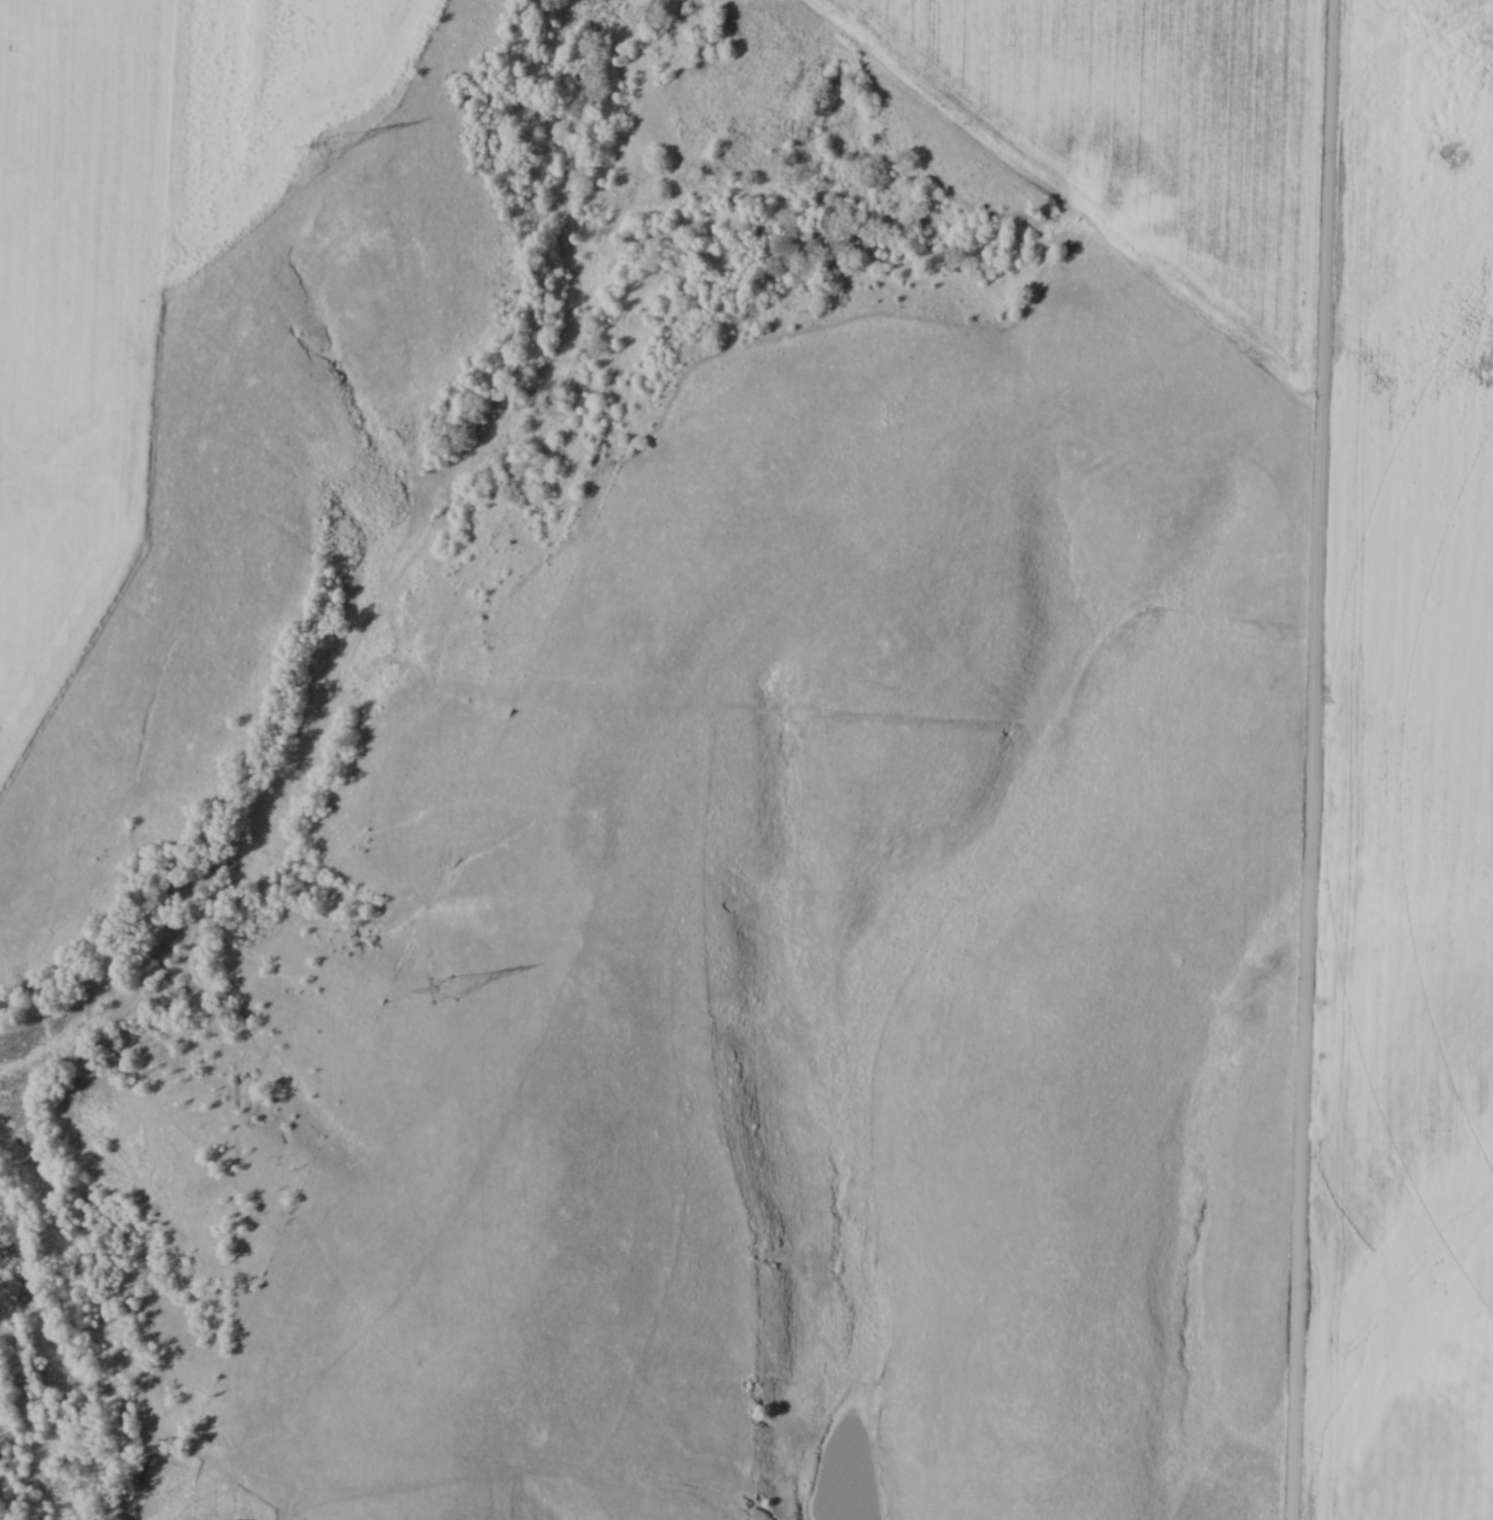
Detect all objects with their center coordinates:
power tower: (327, 146)
road: (1308, 759)
power tower: (442, 990)
building: (5, 1518)

